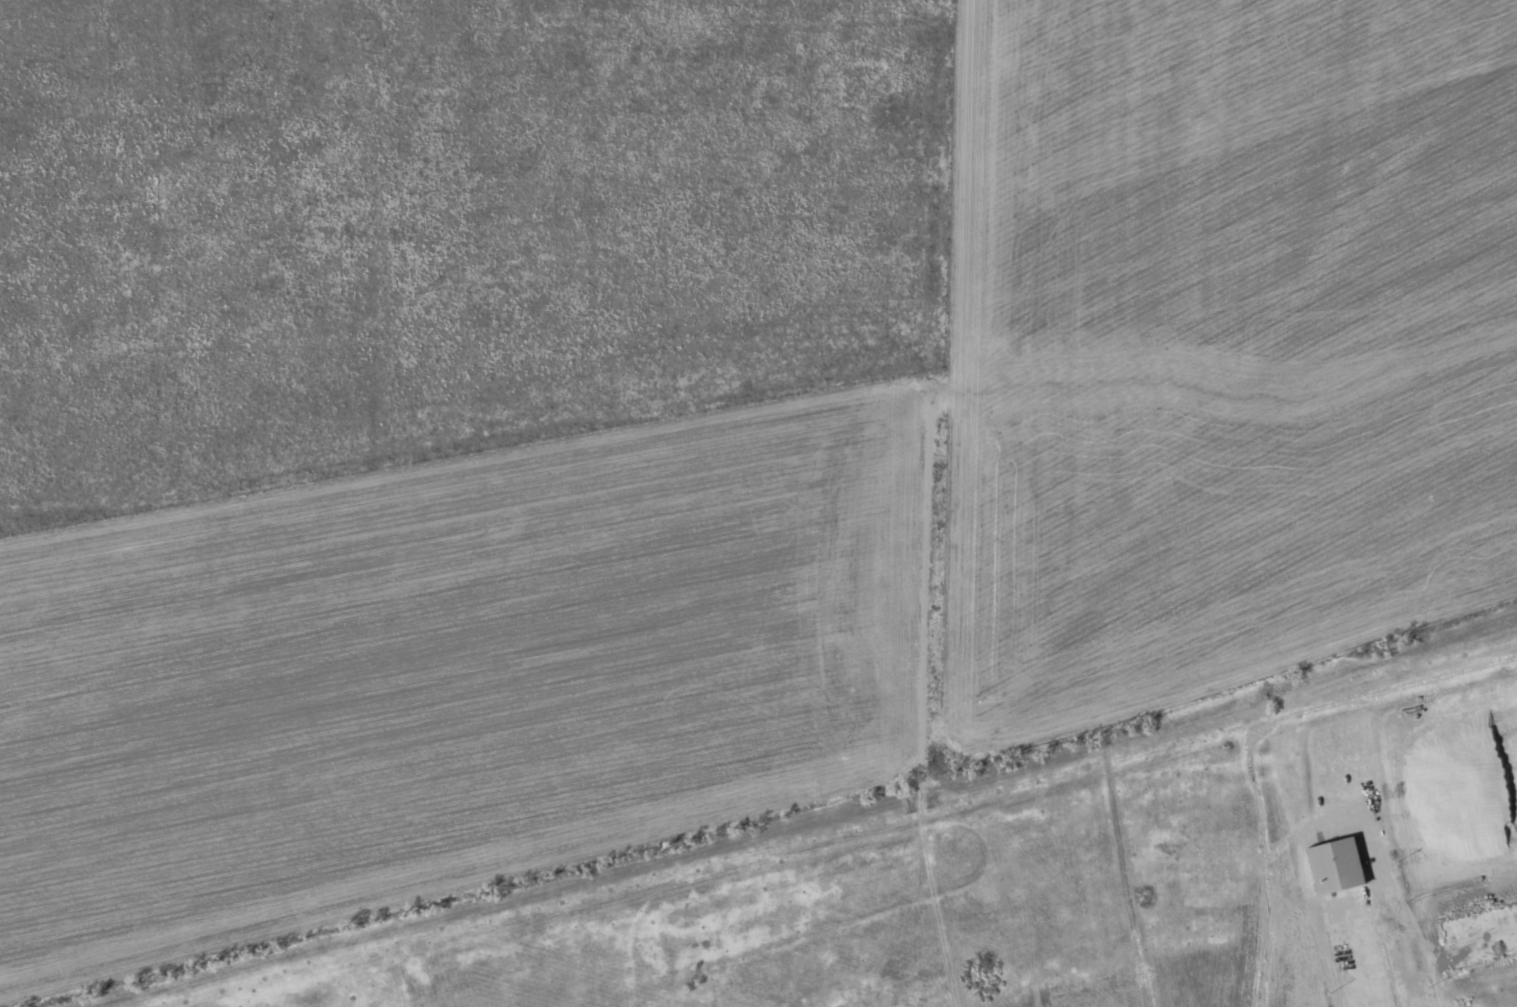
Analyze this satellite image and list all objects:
railway: (801, 822)
building: (1333, 865)

